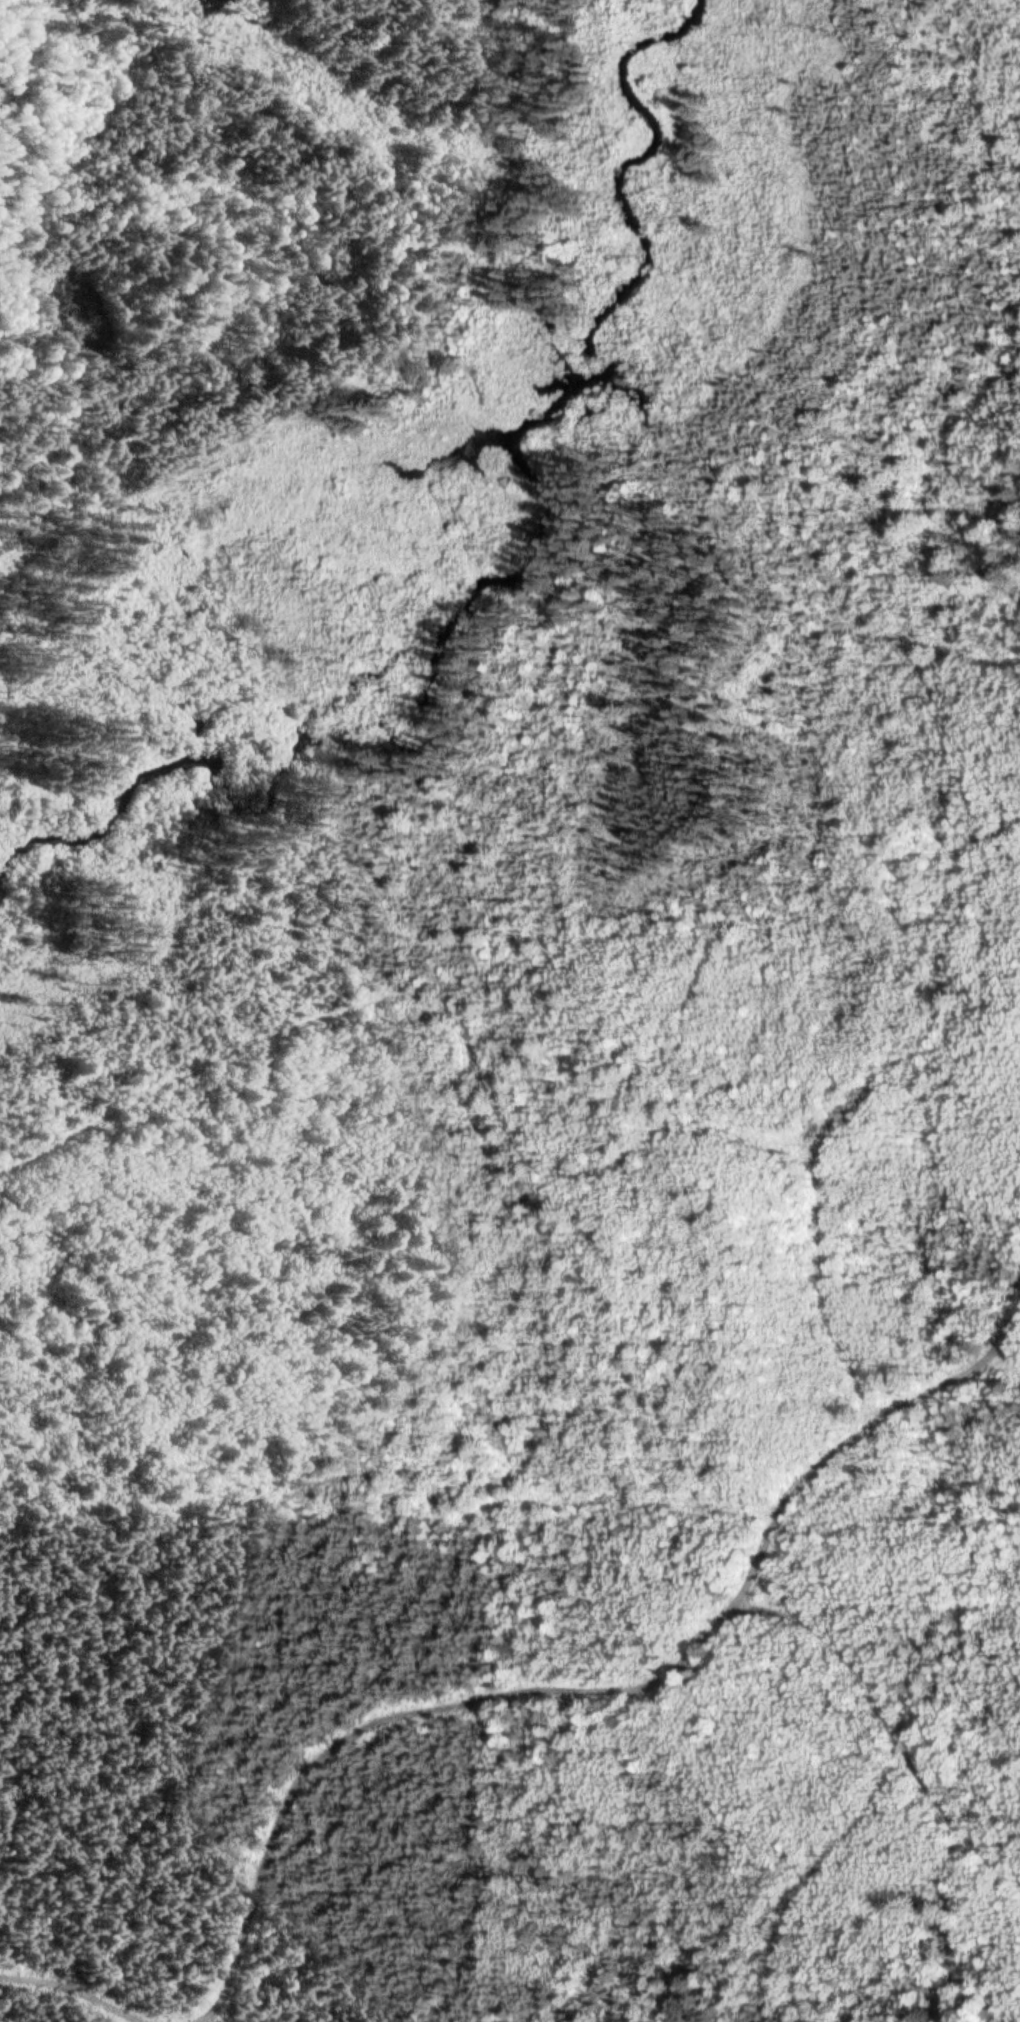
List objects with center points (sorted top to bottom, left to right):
road: (582, 679)
road: (584, 1675)
road: (88, 1997)

